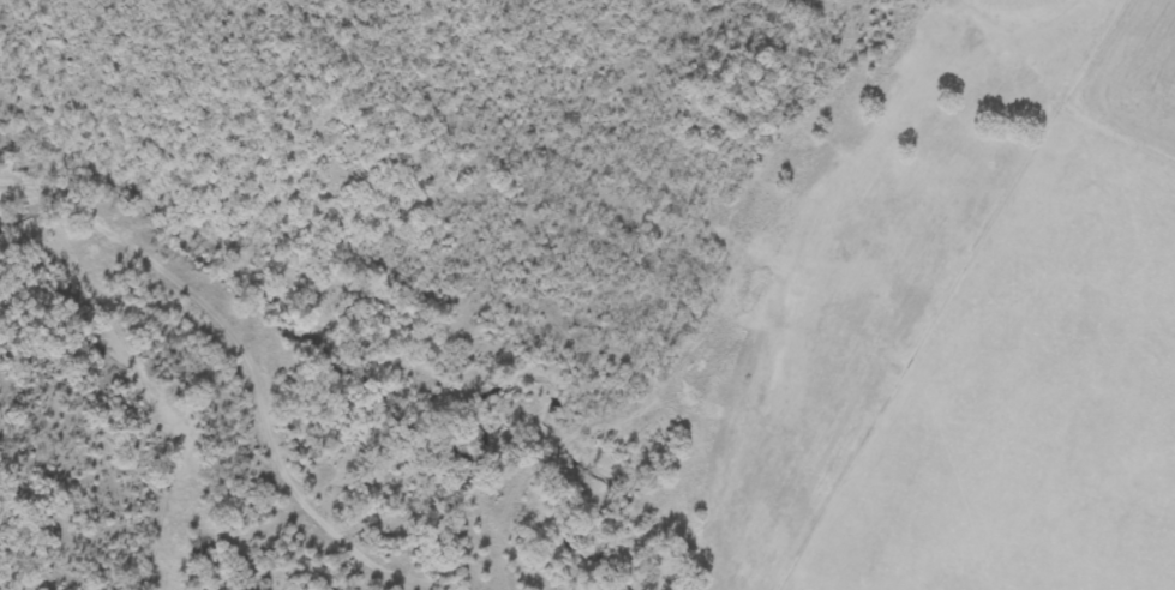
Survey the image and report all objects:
crop: (959, 321)

